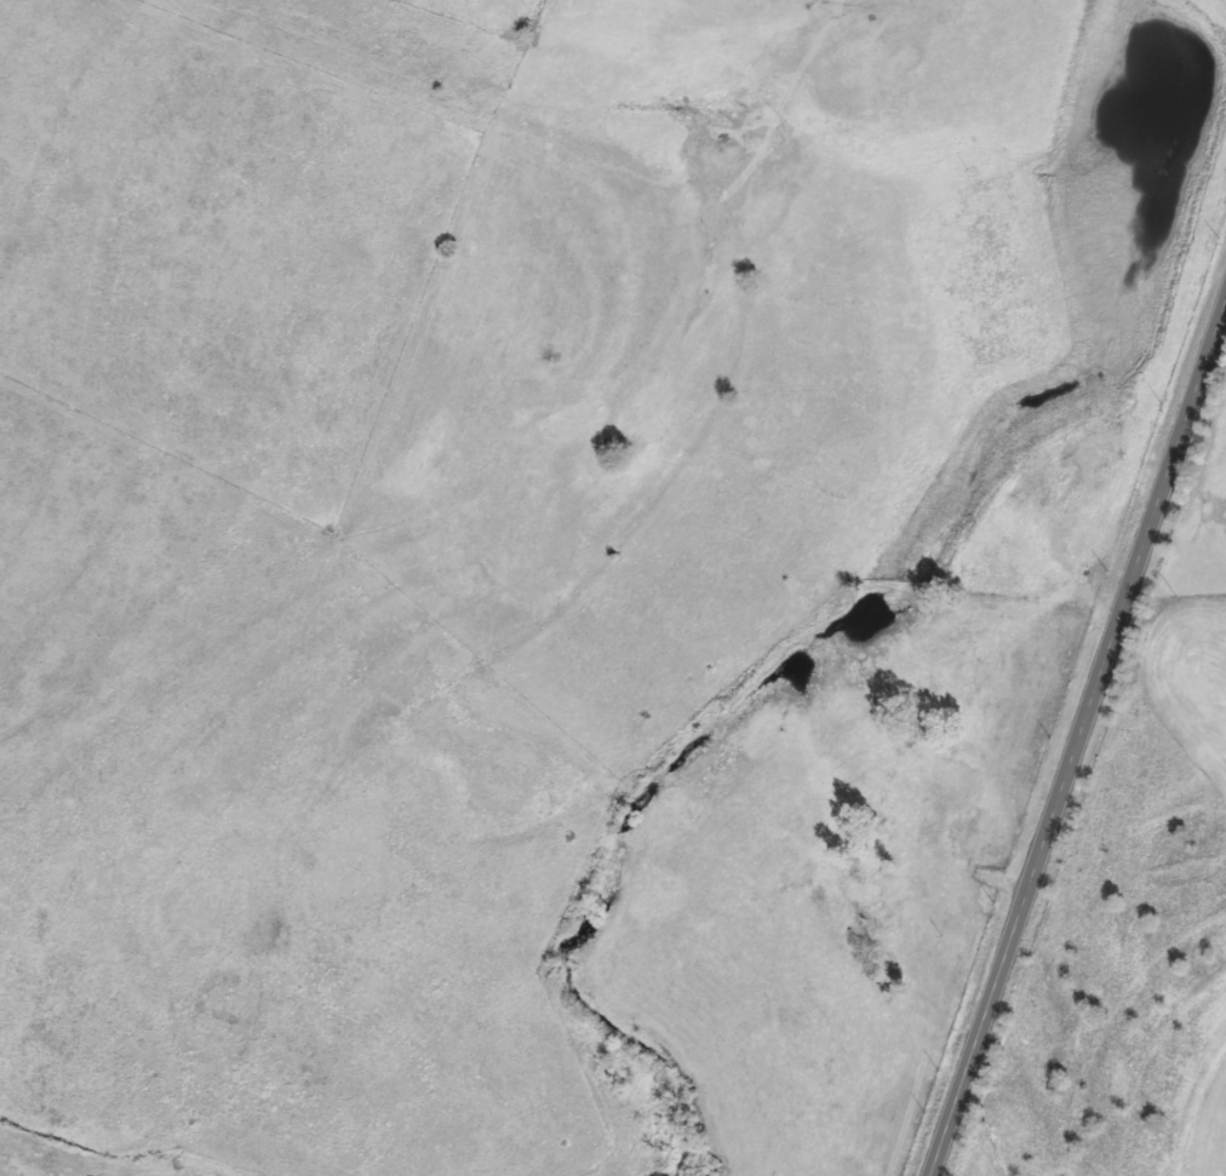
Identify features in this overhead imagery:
road: (1076, 736)

